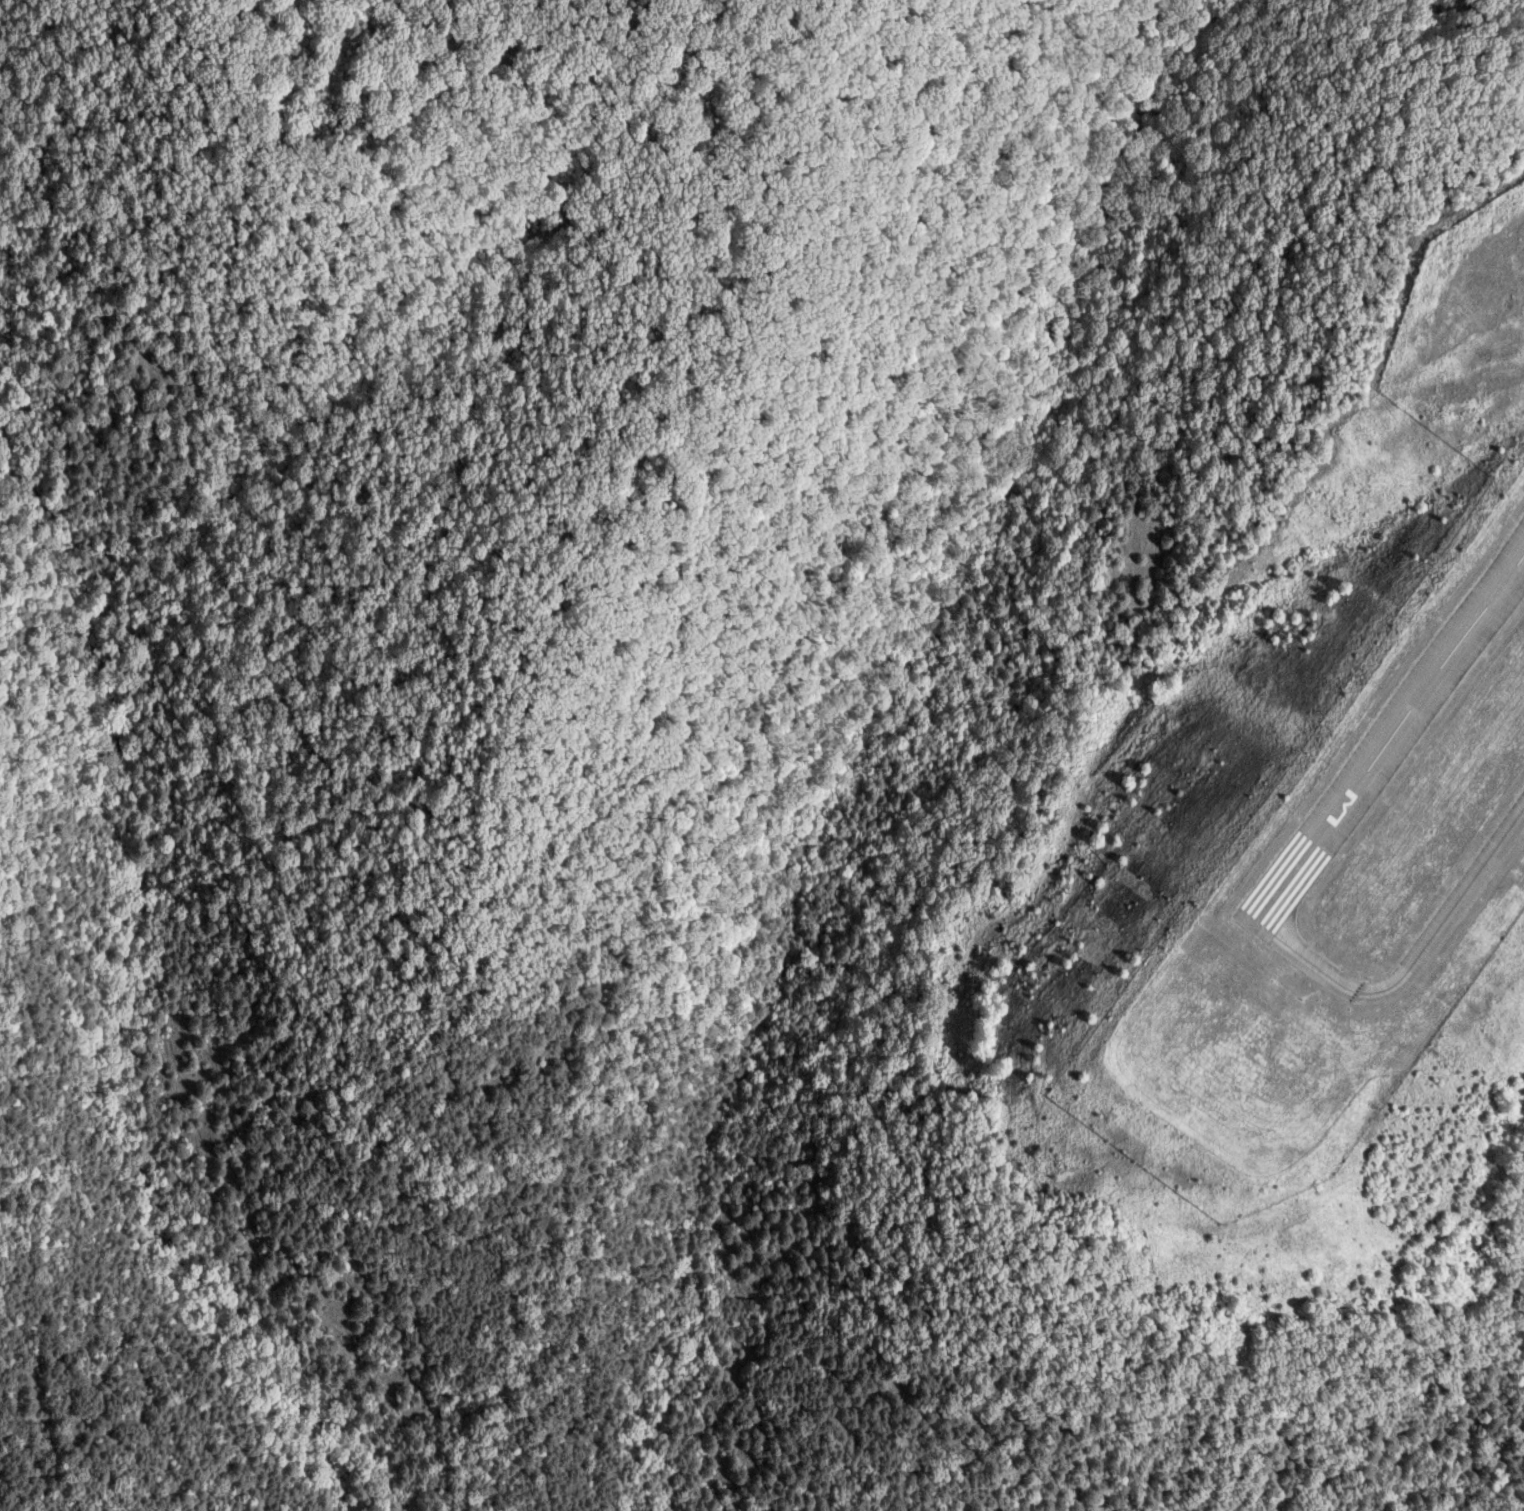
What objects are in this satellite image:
airport runway: (1392, 741)
airport taxiway: (1415, 958)

